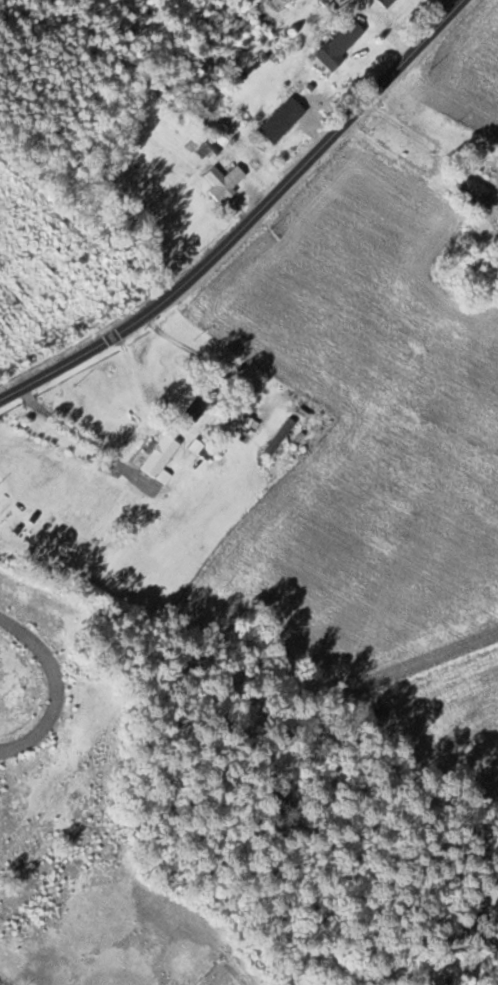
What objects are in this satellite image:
building: (387, 3)
building: (342, 44)
building: (283, 121)
building: (225, 182)
building: (476, 191)
road: (247, 221)
building: (200, 404)
building: (282, 437)
building: (162, 459)

